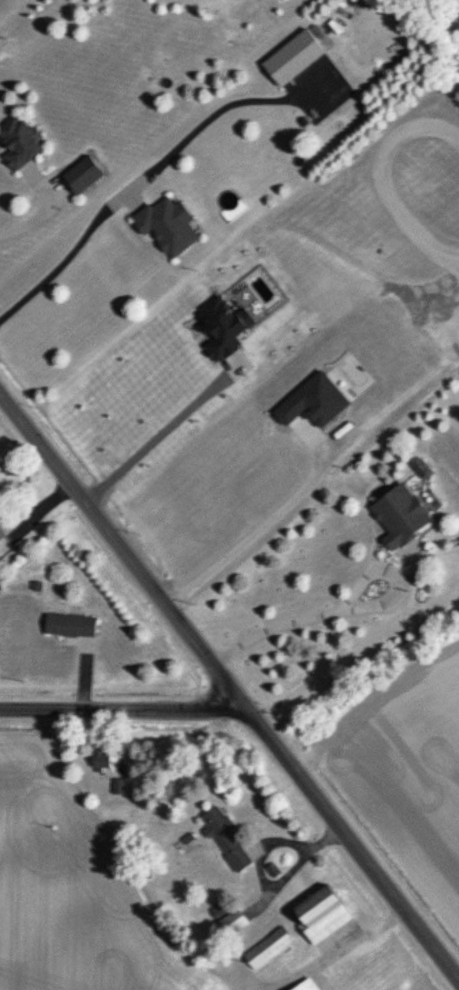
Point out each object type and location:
building: (284, 61)
building: (15, 143)
building: (79, 175)
road: (39, 216)
building: (164, 226)
road: (64, 259)
road: (159, 430)
building: (396, 516)
building: (2, 533)
road: (340, 604)
building: (68, 626)
road: (230, 687)
road: (121, 712)
building: (99, 758)
building: (223, 839)
building: (318, 916)
building: (231, 923)
building: (267, 949)
building: (305, 985)

